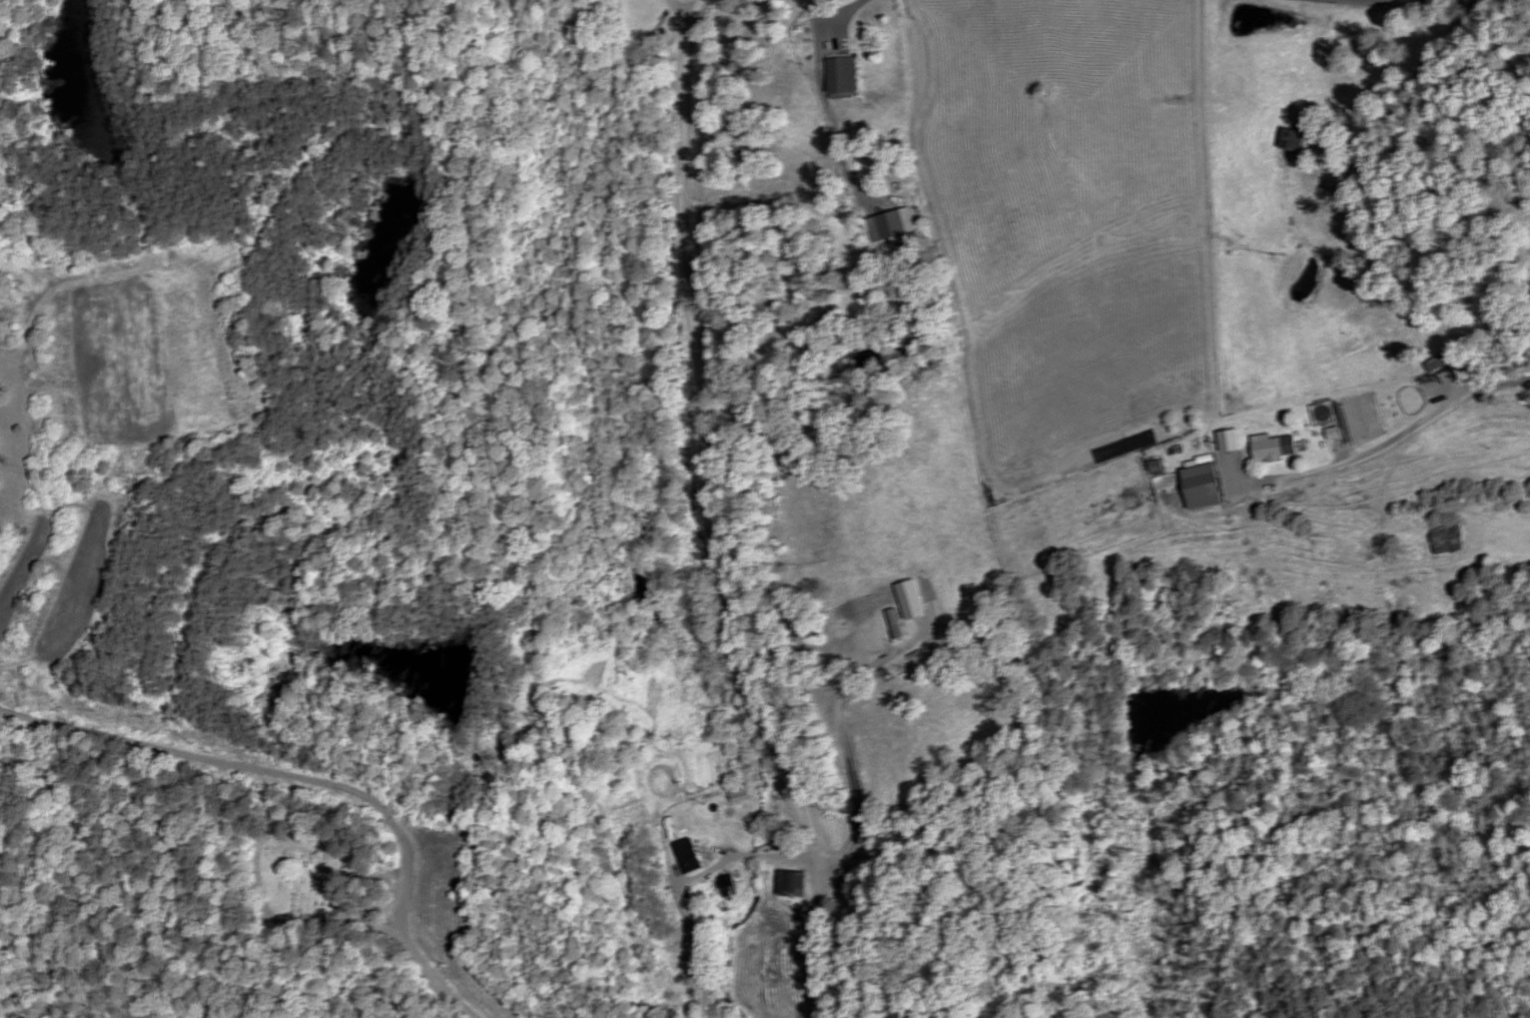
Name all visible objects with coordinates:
building: (844, 77)
building: (1295, 141)
building: (893, 226)
building: (1439, 364)
building: (1334, 434)
road: (1389, 444)
building: (1274, 448)
building: (1201, 484)
road: (719, 514)
building: (1448, 540)
building: (911, 600)
building: (898, 625)
road: (50, 725)
road: (853, 741)
road: (361, 796)
building: (688, 857)
road: (746, 858)
building: (792, 884)

